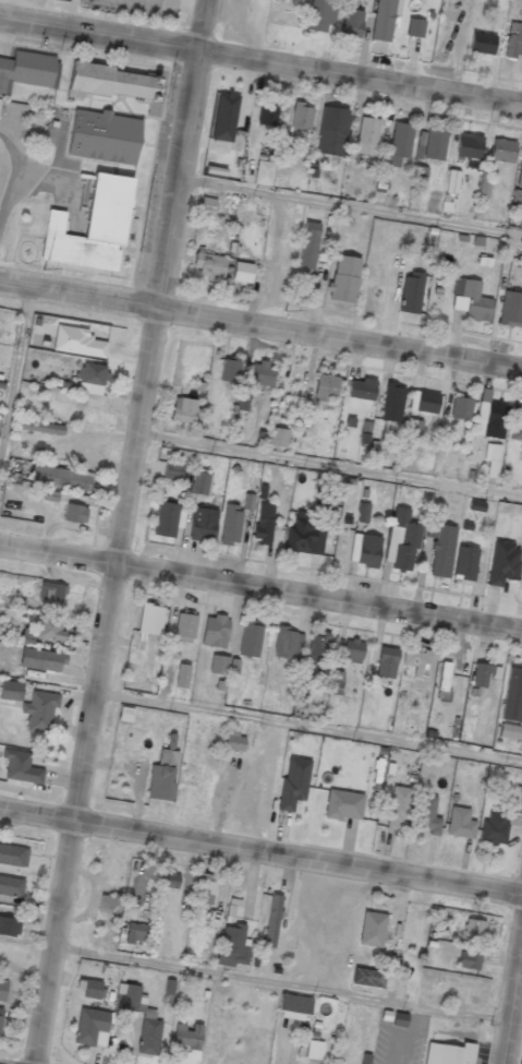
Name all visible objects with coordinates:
building: (319, 14)
road: (72, 15)
building: (381, 20)
building: (351, 23)
building: (414, 27)
building: (513, 40)
building: (481, 43)
road: (260, 61)
building: (28, 71)
building: (111, 83)
building: (267, 111)
building: (301, 116)
building: (226, 121)
building: (331, 131)
building: (366, 135)
building: (105, 138)
building: (399, 142)
building: (430, 144)
building: (284, 145)
building: (469, 145)
building: (502, 150)
building: (263, 172)
building: (418, 176)
building: (519, 176)
building: (207, 205)
road: (350, 205)
building: (92, 229)
building: (308, 246)
building: (209, 265)
power tower: (45, 268)
building: (242, 272)
building: (343, 278)
building: (411, 291)
building: (470, 300)
building: (511, 309)
power tower: (284, 311)
road: (260, 326)
building: (77, 342)
building: (229, 369)
building: (260, 374)
building: (92, 378)
road: (15, 387)
building: (325, 387)
building: (361, 388)
building: (242, 401)
building: (424, 402)
building: (391, 403)
building: (460, 408)
building: (183, 409)
building: (490, 419)
building: (517, 423)
building: (40, 427)
building: (412, 429)
building: (277, 438)
building: (491, 452)
road: (329, 465)
building: (173, 470)
building: (60, 477)
building: (199, 482)
building: (247, 501)
building: (324, 502)
building: (363, 512)
building: (74, 513)
building: (165, 519)
building: (263, 523)
building: (230, 524)
building: (203, 525)
road: (120, 531)
building: (303, 538)
building: (402, 540)
building: (440, 548)
building: (364, 550)
building: (502, 563)
road: (260, 586)
building: (51, 591)
building: (150, 620)
building: (185, 626)
building: (45, 631)
building: (215, 631)
building: (250, 638)
building: (287, 643)
building: (317, 649)
building: (41, 659)
building: (386, 662)
building: (418, 662)
building: (218, 665)
building: (481, 674)
building: (182, 676)
building: (10, 690)
building: (512, 695)
building: (39, 712)
road: (308, 726)
building: (509, 731)
building: (234, 741)
building: (21, 767)
building: (161, 776)
building: (294, 782)
building: (343, 804)
building: (398, 805)
building: (426, 814)
building: (459, 823)
building: (493, 829)
road: (260, 851)
building: (13, 856)
building: (170, 880)
building: (11, 886)
building: (203, 888)
building: (108, 905)
building: (9, 926)
building: (371, 929)
building: (472, 930)
building: (133, 932)
building: (232, 946)
building: (469, 960)
building: (367, 978)
road: (287, 984)
building: (2, 989)
building: (92, 989)
road: (512, 1006)
building: (293, 1007)
building: (0, 1016)
building: (147, 1018)
building: (92, 1027)
building: (186, 1037)
building: (314, 1050)
building: (449, 1054)

